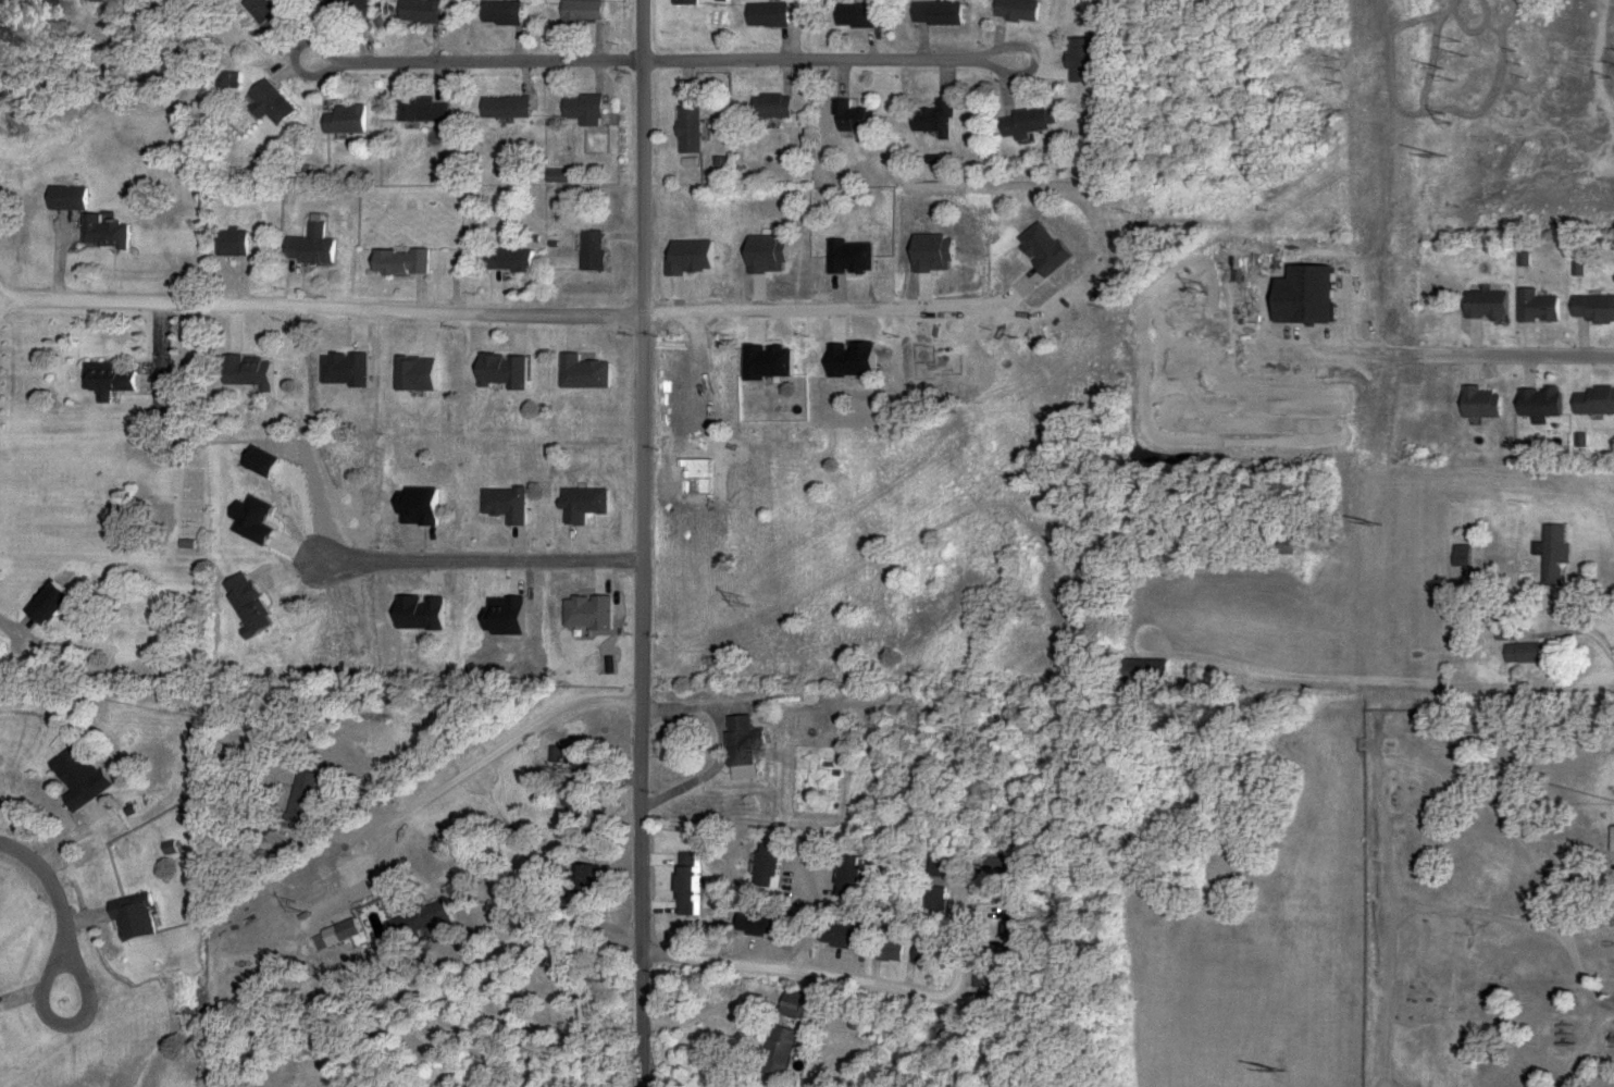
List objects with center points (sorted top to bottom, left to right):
building: (105, 0)
building: (692, 1)
building: (349, 5)
building: (1014, 10)
building: (425, 11)
building: (589, 11)
building: (271, 12)
building: (508, 13)
building: (933, 14)
building: (767, 15)
building: (849, 15)
building: (1076, 60)
road: (477, 62)
road: (829, 62)
building: (272, 103)
building: (774, 106)
building: (507, 107)
building: (425, 110)
building: (588, 110)
building: (849, 118)
building: (348, 120)
building: (931, 120)
building: (1022, 123)
building: (692, 129)
building: (72, 198)
building: (108, 232)
building: (237, 243)
building: (315, 247)
building: (596, 251)
building: (512, 260)
building: (405, 262)
road: (858, 289)
building: (1298, 296)
building: (1482, 306)
building: (1534, 307)
building: (1590, 309)
road: (322, 310)
road: (1486, 351)
building: (111, 380)
building: (183, 380)
building: (1591, 400)
building: (1476, 402)
building: (1536, 402)
road: (833, 524)
road: (645, 543)
building: (1281, 546)
building: (1549, 554)
building: (53, 601)
building: (1525, 653)
road: (1592, 666)
building: (1153, 670)
building: (752, 742)
road: (722, 743)
road: (509, 749)
building: (82, 778)
building: (584, 788)
building: (311, 798)
building: (1003, 864)
building: (940, 865)
building: (773, 866)
building: (856, 878)
building: (586, 879)
building: (692, 885)
building: (935, 898)
road: (45, 911)
building: (134, 917)
building: (431, 925)
building: (768, 926)
road: (961, 926)
building: (356, 930)
building: (1016, 930)
building: (847, 937)
building: (894, 951)
building: (927, 953)
building: (989, 976)
road: (811, 978)
building: (797, 1004)
building: (778, 1052)

